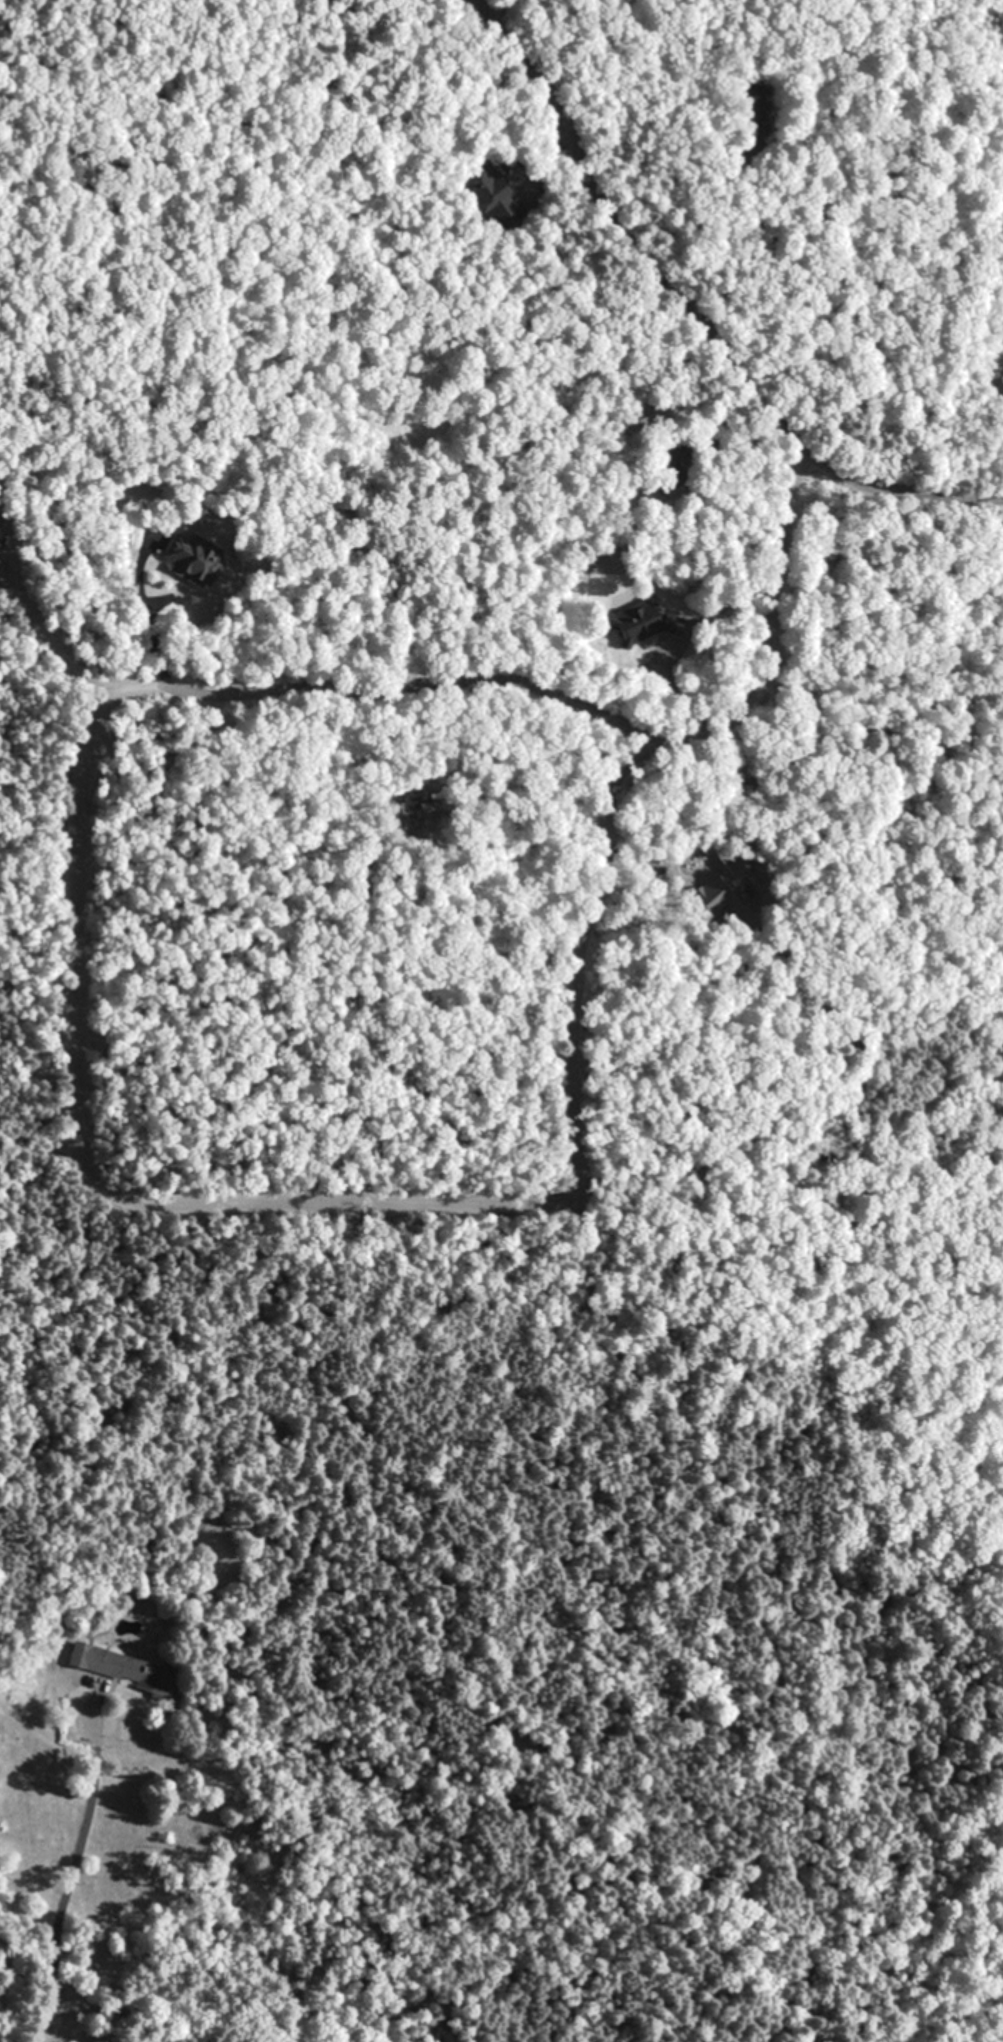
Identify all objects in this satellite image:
building: (757, 110)
building: (492, 193)
road: (695, 313)
building: (431, 428)
building: (193, 559)
building: (637, 624)
road: (544, 697)
building: (119, 1667)
road: (70, 1879)

